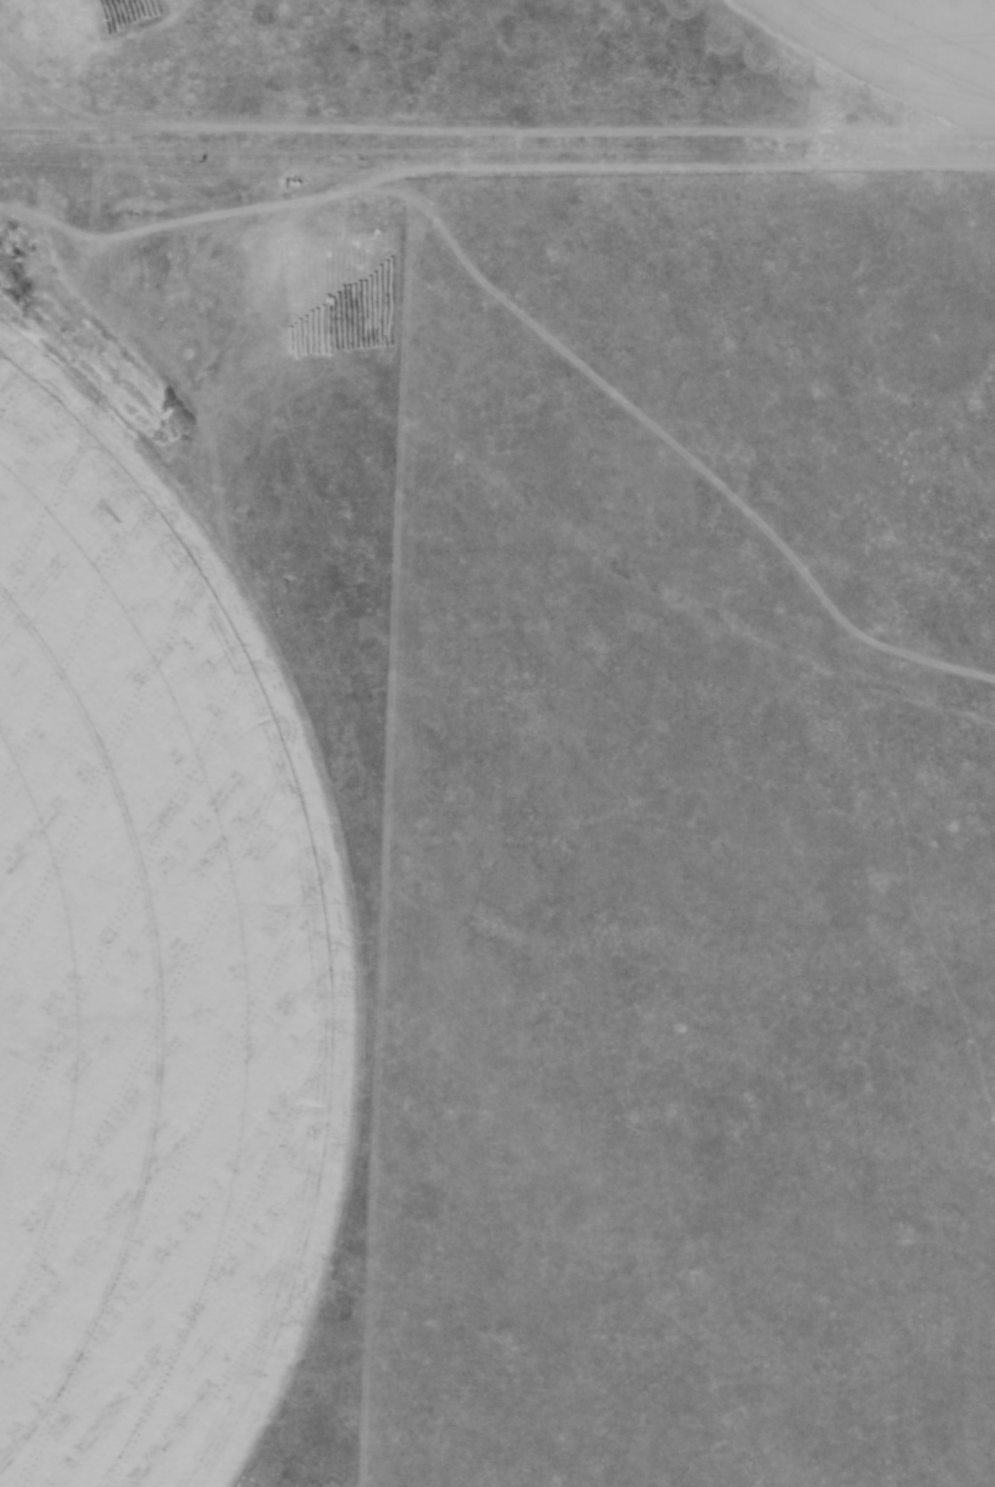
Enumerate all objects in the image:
crop: (907, 40)
crop: (152, 975)

